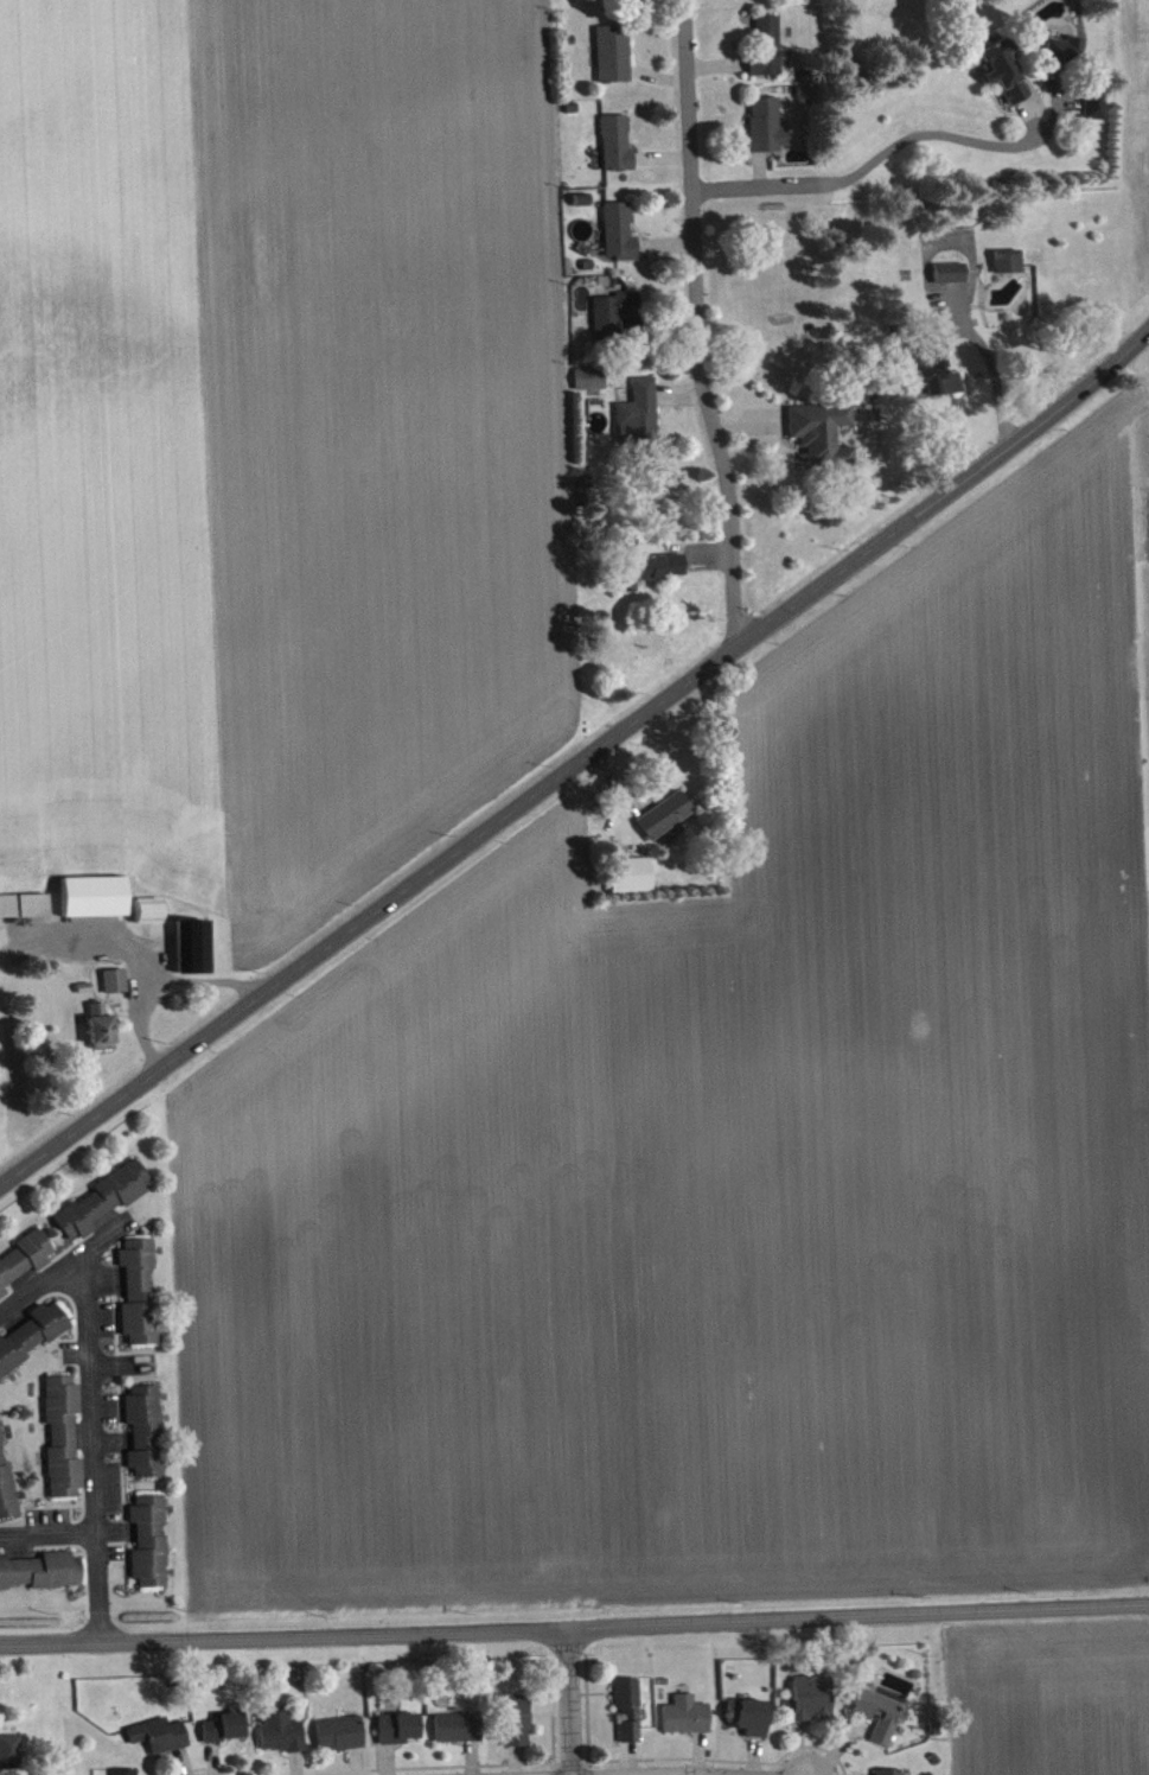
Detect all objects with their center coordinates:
building: (609, 0)
building: (770, 55)
building: (1067, 57)
building: (615, 59)
building: (1006, 76)
building: (1097, 112)
building: (770, 132)
building: (618, 149)
road: (870, 161)
building: (621, 238)
building: (1010, 267)
building: (952, 279)
building: (615, 318)
road: (695, 323)
building: (939, 378)
road: (1000, 380)
building: (592, 384)
building: (641, 419)
building: (824, 440)
building: (649, 575)
road: (576, 756)
building: (665, 821)
building: (632, 882)
building: (96, 903)
building: (25, 912)
building: (152, 917)
building: (196, 953)
building: (117, 987)
building: (103, 1032)
building: (106, 1205)
building: (25, 1266)
road: (65, 1270)
building: (140, 1299)
building: (32, 1343)
building: (146, 1438)
building: (64, 1443)
road: (91, 1450)
building: (7, 1490)
road: (47, 1538)
building: (151, 1548)
building: (43, 1578)
road: (574, 1626)
road: (567, 1700)
building: (812, 1704)
building: (630, 1714)
building: (688, 1722)
building: (880, 1722)
building: (752, 1723)
building: (518, 1726)
building: (226, 1733)
building: (459, 1733)
building: (400, 1735)
building: (282, 1739)
building: (341, 1739)
building: (160, 1742)
building: (11, 1758)

